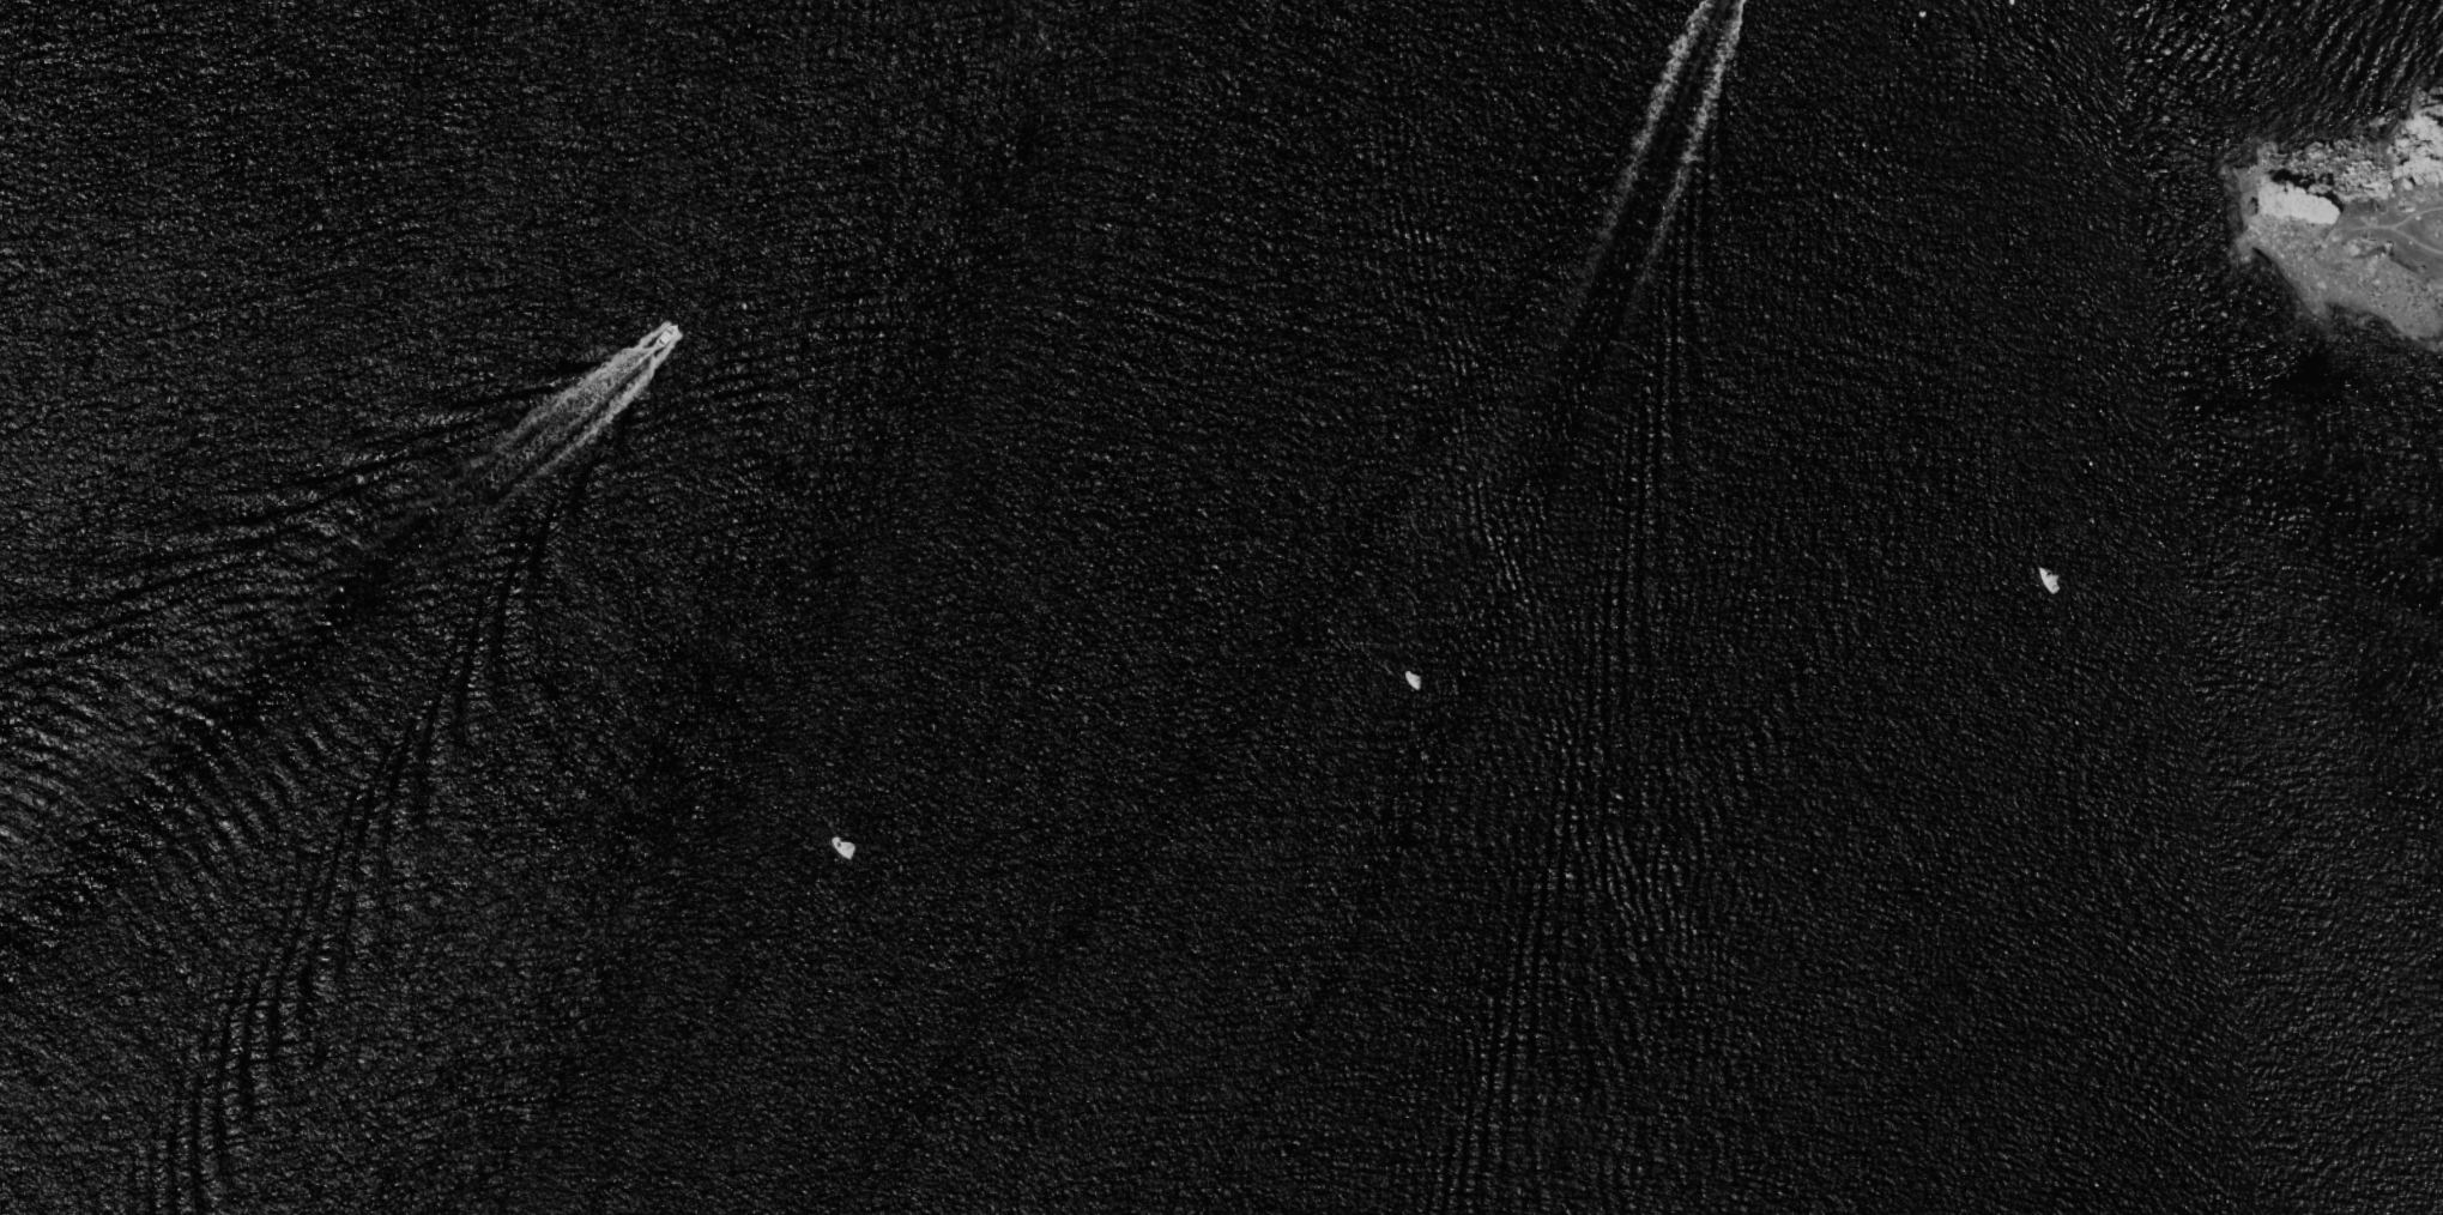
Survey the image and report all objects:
building: (2267, 208)
park: (2352, 218)
road: (2424, 218)
road: (2327, 225)
road: (2393, 226)
road: (2424, 236)

